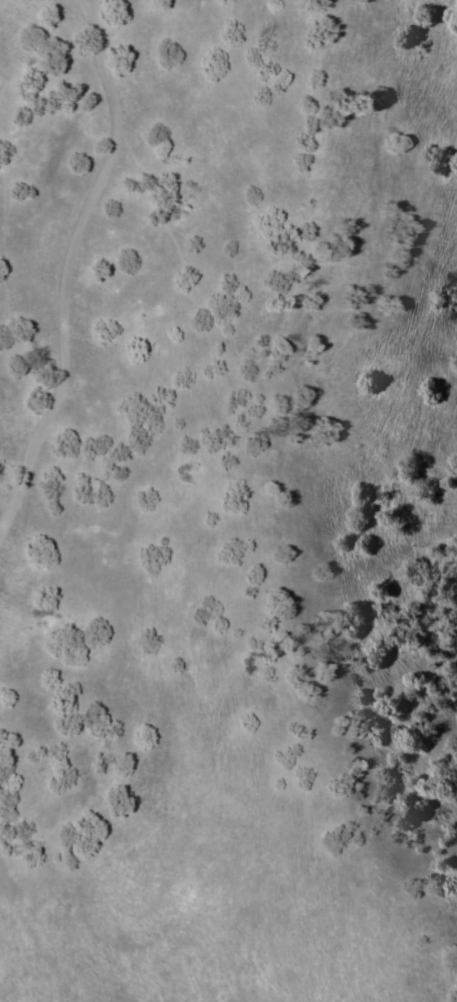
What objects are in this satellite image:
road: (64, 272)
road: (328, 513)
road: (0, 1000)

